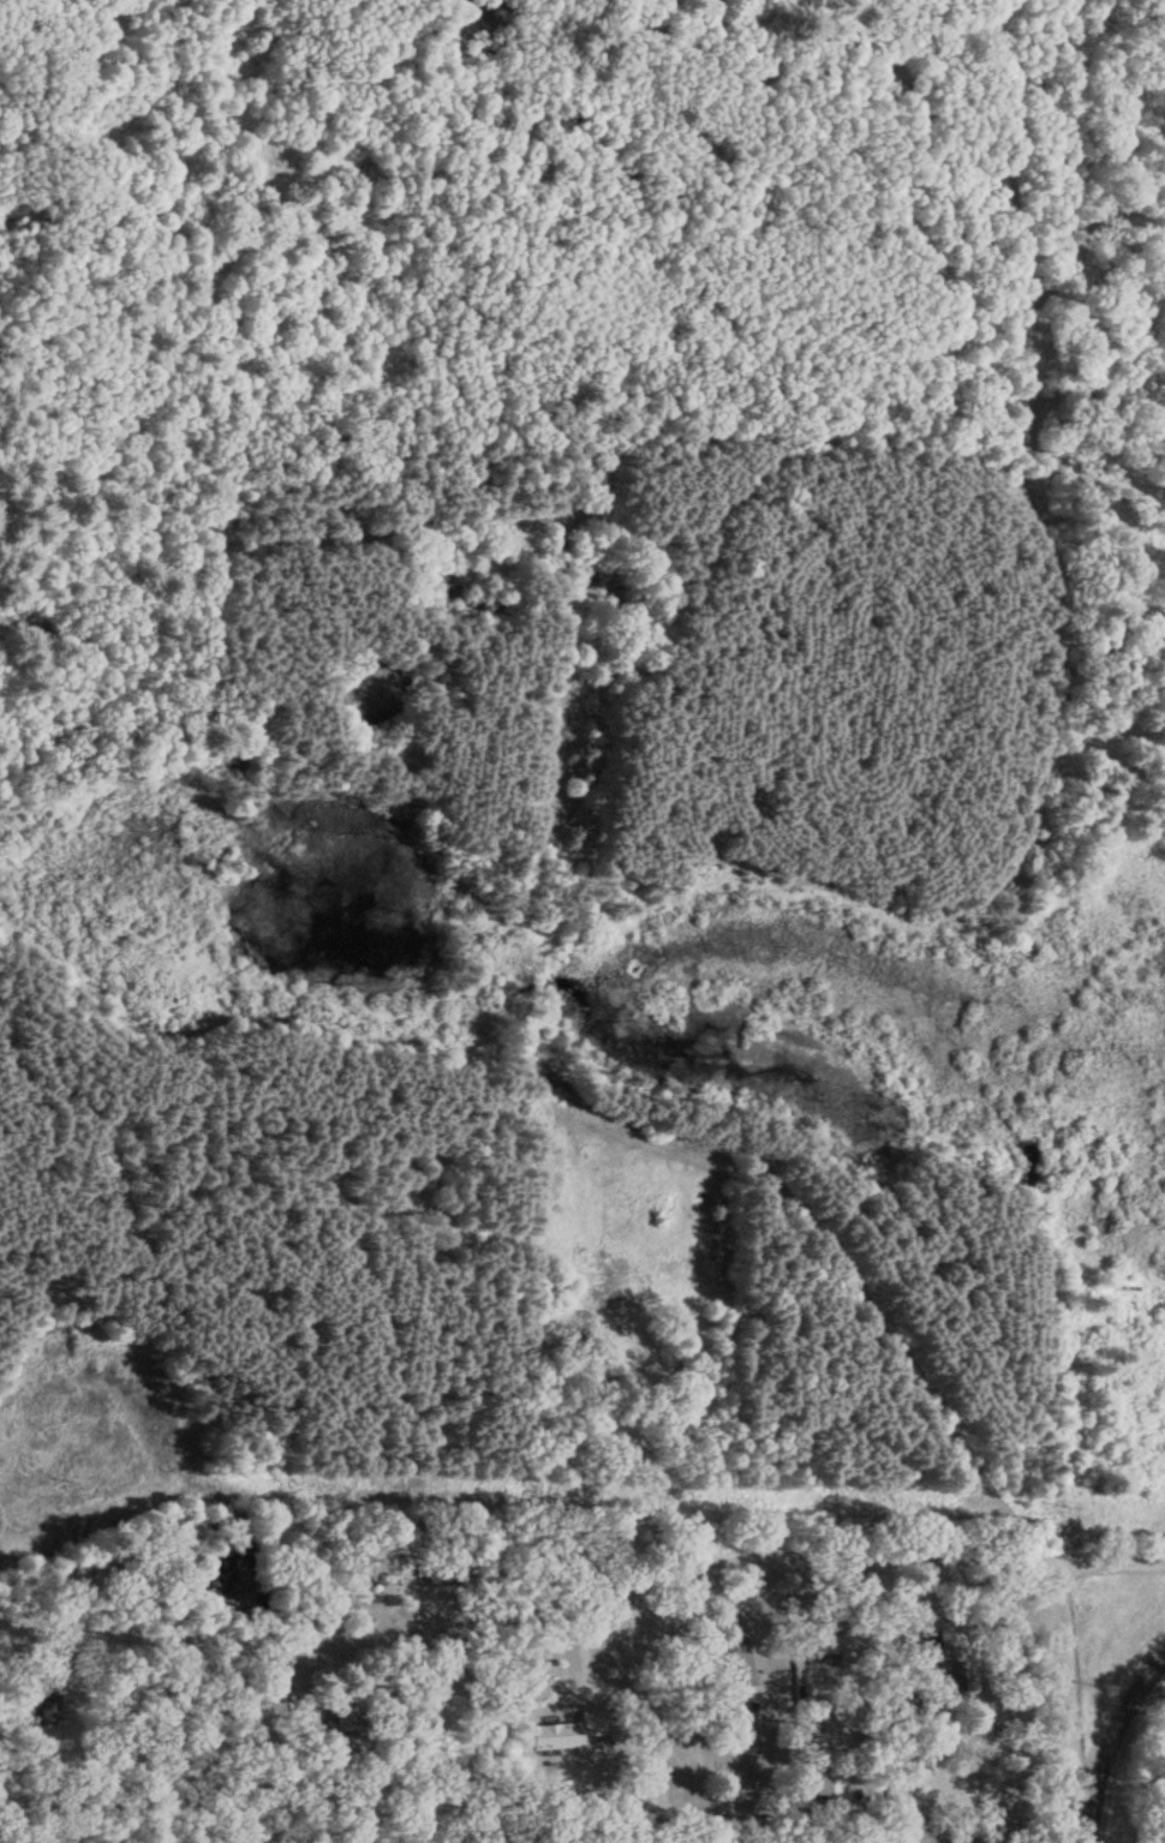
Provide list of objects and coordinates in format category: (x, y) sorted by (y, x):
road: (1022, 240)
road: (564, 682)
road: (1110, 1564)
road: (656, 1575)
building: (842, 1644)
building: (748, 1658)
building: (951, 1675)
building: (310, 1717)
building: (336, 1723)
building: (568, 1729)
road: (1113, 1736)
road: (1085, 1836)

